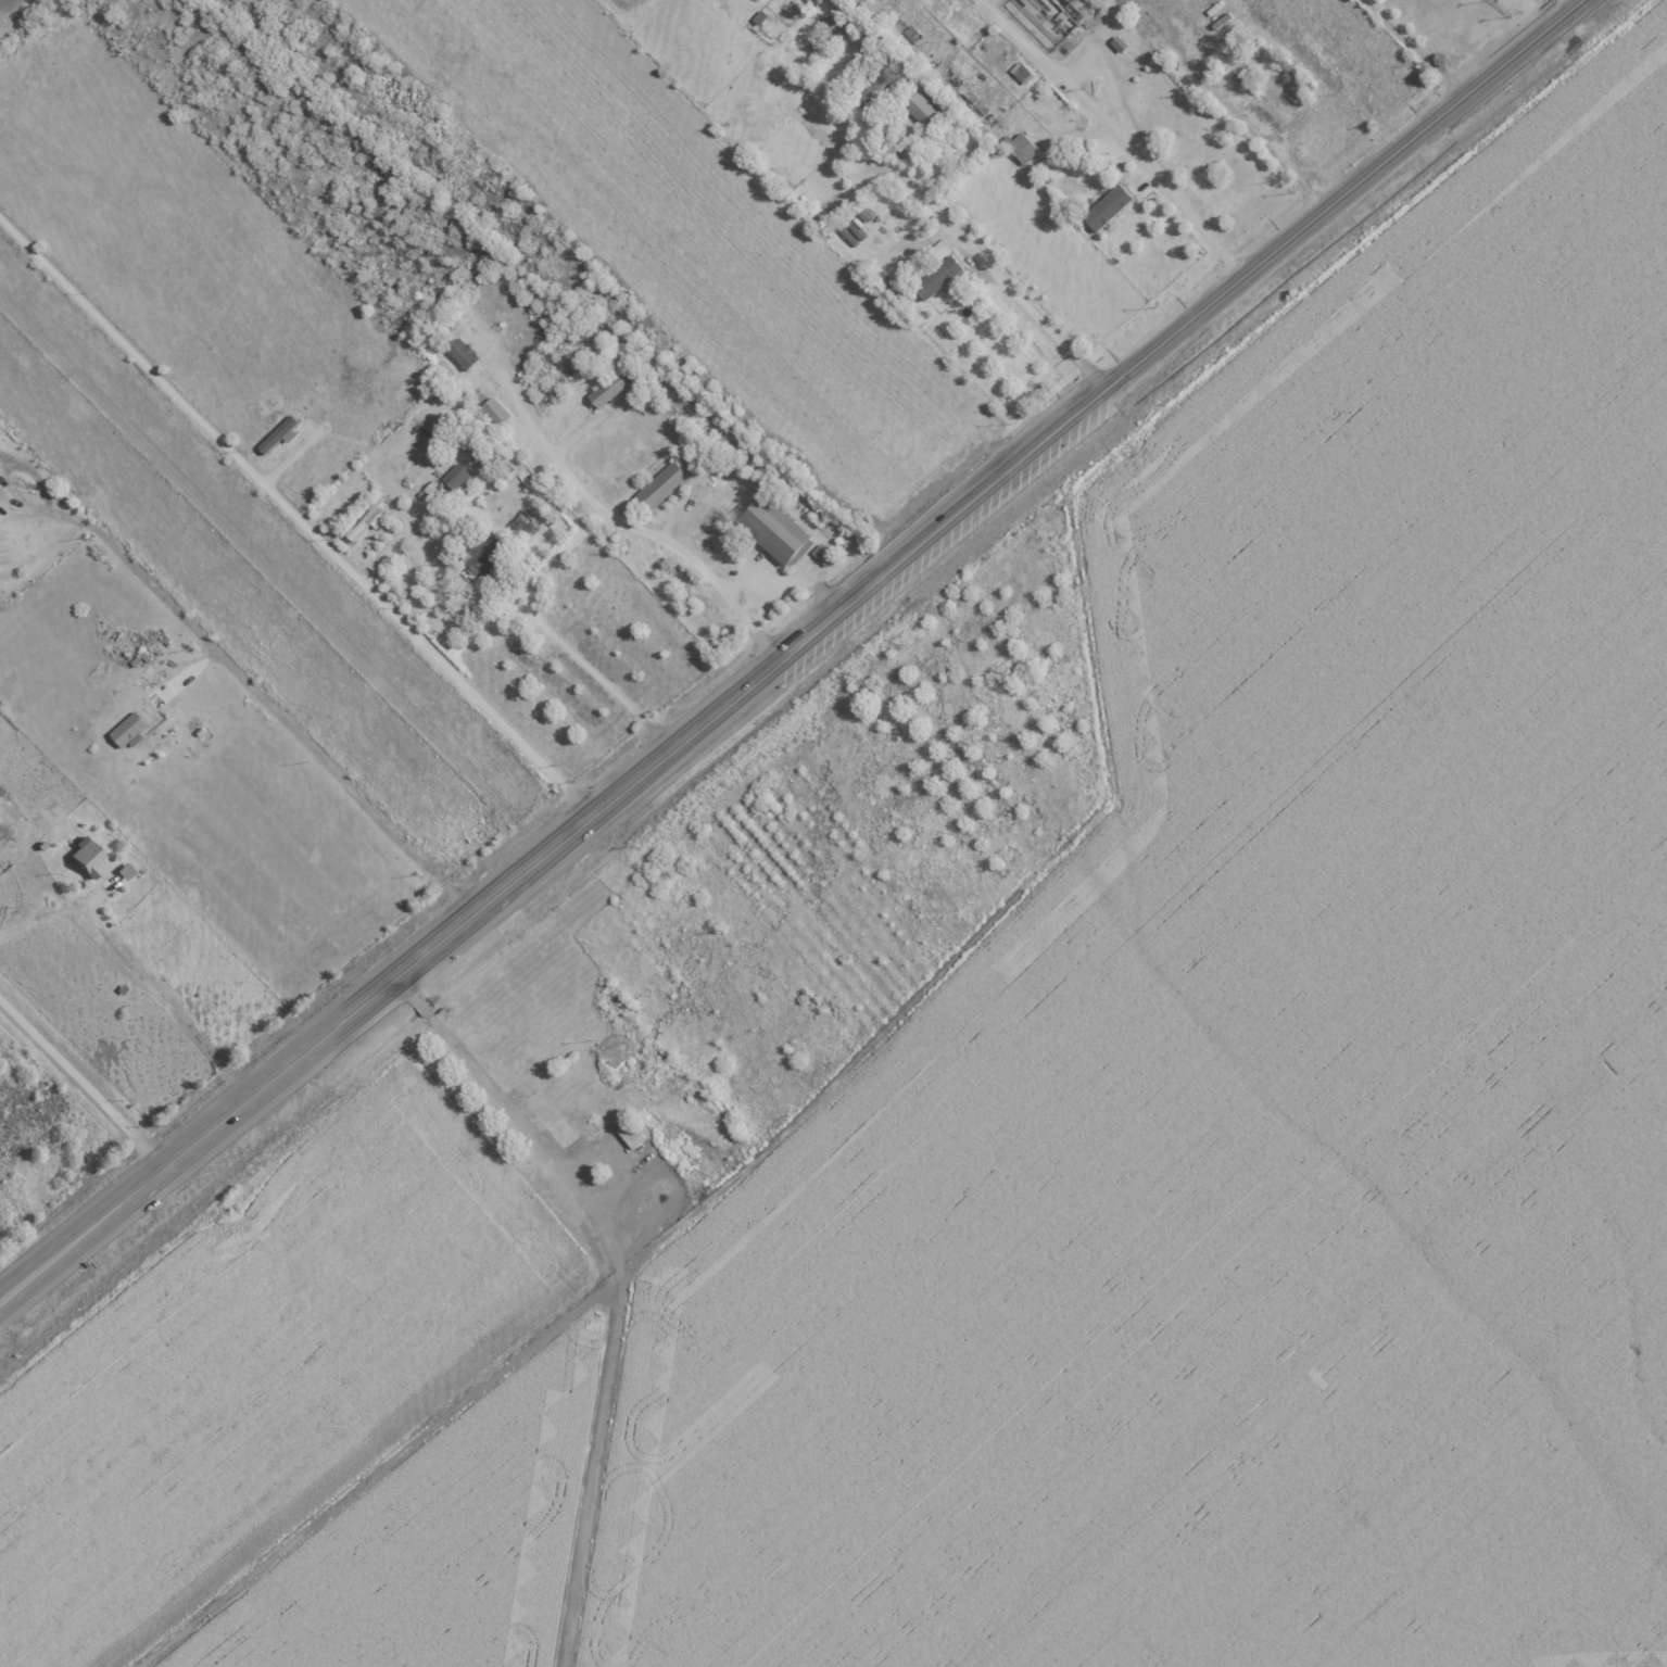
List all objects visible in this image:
building: (812, 1)
road: (1574, 2)
building: (1122, 43)
road: (1417, 46)
building: (1024, 72)
building: (1296, 72)
building: (877, 91)
building: (926, 110)
road: (1119, 134)
building: (1024, 147)
building: (1111, 207)
building: (943, 249)
road: (990, 264)
building: (940, 282)
road: (151, 350)
building: (466, 352)
road: (1145, 358)
building: (610, 389)
building: (498, 411)
building: (283, 434)
building: (469, 438)
building: (459, 476)
building: (665, 485)
building: (372, 518)
road: (623, 526)
building: (778, 529)
building: (823, 552)
road: (786, 580)
road: (446, 664)
road: (593, 675)
road: (255, 691)
building: (132, 730)
building: (87, 857)
road: (464, 915)
road: (131, 967)
airport: (1195, 1074)
road: (81, 1081)
building: (633, 1133)
road: (111, 1205)
road: (619, 1281)

